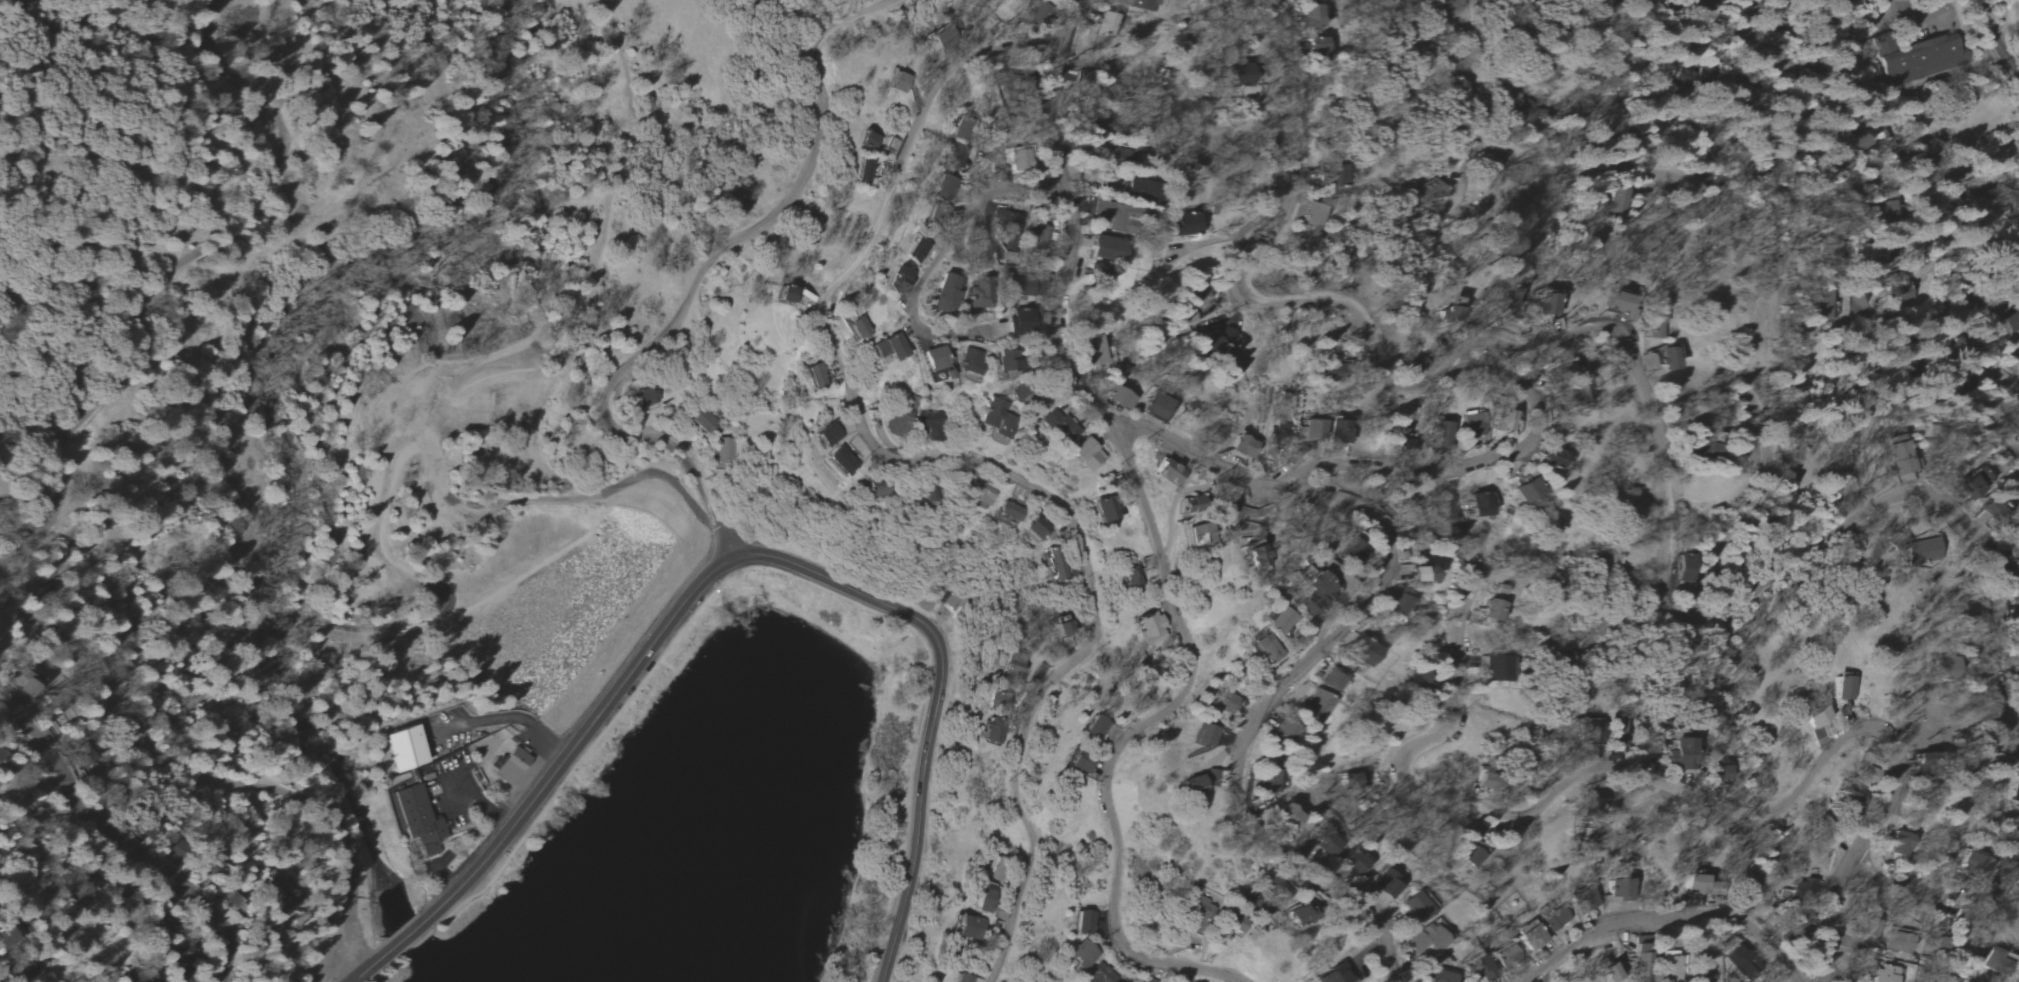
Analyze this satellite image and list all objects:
building: (1312, 16)
road: (1082, 20)
building: (1107, 24)
road: (1998, 35)
building: (947, 39)
building: (1317, 49)
building: (1923, 60)
building: (1695, 78)
building: (898, 82)
building: (963, 132)
building: (869, 140)
building: (1853, 140)
building: (1123, 156)
building: (1018, 163)
building: (863, 171)
building: (1428, 190)
building: (944, 191)
building: (1140, 191)
road: (1849, 193)
road: (1786, 196)
building: (1312, 215)
building: (1117, 219)
building: (1005, 222)
building: (1186, 224)
building: (916, 246)
building: (1107, 250)
road: (937, 258)
building: (1097, 274)
building: (897, 276)
road: (695, 277)
building: (944, 289)
building: (977, 291)
building: (784, 293)
building: (1199, 295)
building: (1622, 303)
building: (1820, 305)
building: (1452, 311)
building: (2012, 316)
building: (1189, 317)
building: (1019, 320)
building: (856, 325)
building: (1220, 340)
building: (886, 346)
building: (1093, 349)
building: (934, 358)
building: (1007, 358)
building: (1667, 359)
building: (970, 360)
road: (1445, 372)
building: (818, 376)
building: (645, 396)
building: (1120, 396)
building: (1577, 397)
building: (1156, 405)
building: (996, 419)
building: (1507, 419)
building: (705, 420)
building: (895, 422)
building: (1471, 422)
building: (929, 425)
building: (1280, 425)
building: (1311, 428)
building: (1441, 428)
building: (1339, 430)
building: (827, 434)
building: (582, 436)
building: (1245, 446)
road: (72, 451)
building: (727, 451)
building: (1086, 454)
building: (1902, 454)
building: (2016, 454)
road: (961, 456)
building: (1556, 459)
building: (841, 460)
road: (532, 461)
road: (1479, 462)
building: (1166, 474)
building: (1972, 484)
building: (876, 487)
building: (1528, 490)
building: (929, 493)
road: (580, 498)
building: (1190, 503)
building: (1480, 504)
building: (1106, 508)
building: (1992, 508)
building: (1011, 511)
road: (1960, 521)
building: (443, 525)
building: (1037, 527)
building: (1198, 533)
building: (2015, 537)
building: (1349, 547)
road: (1157, 551)
building: (1919, 551)
building: (1251, 553)
building: (1055, 565)
road: (714, 566)
building: (1684, 568)
building: (1418, 573)
building: (2018, 573)
building: (1132, 580)
road: (768, 600)
building: (1401, 604)
building: (1492, 610)
building: (1274, 618)
building: (1151, 627)
building: (1066, 628)
road: (1329, 644)
building: (1262, 647)
building: (1014, 666)
building: (1495, 668)
building: (1333, 678)
building: (1419, 680)
building: (1844, 686)
building: (26, 688)
road: (938, 698)
building: (999, 701)
building: (1226, 702)
road: (924, 706)
building: (1316, 706)
building: (1817, 717)
road: (482, 720)
road: (635, 722)
building: (1095, 729)
road: (607, 730)
building: (994, 730)
building: (1283, 731)
building: (1207, 735)
road: (550, 737)
building: (402, 748)
building: (1682, 753)
building: (2, 755)
road: (2000, 757)
building: (1079, 761)
building: (511, 766)
road: (1617, 769)
building: (1722, 771)
building: (1200, 781)
building: (1488, 782)
building: (1270, 784)
road: (862, 785)
road: (537, 791)
road: (68, 794)
park: (717, 811)
building: (1290, 816)
building: (416, 819)
building: (1328, 843)
building: (1901, 844)
building: (1354, 861)
building: (1974, 862)
building: (1698, 883)
building: (1387, 884)
building: (1807, 887)
building: (1620, 890)
road: (1938, 893)
building: (1588, 900)
building: (987, 902)
building: (1418, 906)
building: (1199, 909)
building: (1297, 915)
road: (1661, 915)
road: (211, 916)
building: (1554, 919)
building: (1082, 922)
building: (972, 928)
road: (428, 932)
building: (1534, 934)
building: (8, 937)
building: (1430, 940)
building: (1898, 942)
building: (1082, 954)
building: (1512, 956)
building: (1644, 959)
building: (1740, 962)
building: (1481, 965)
building: (1610, 973)
building: (1099, 974)
building: (1884, 974)
building: (1336, 975)
building: (1444, 975)
building: (964, 978)
building: (241, 980)
building: (1148, 980)
building: (1122, 981)

